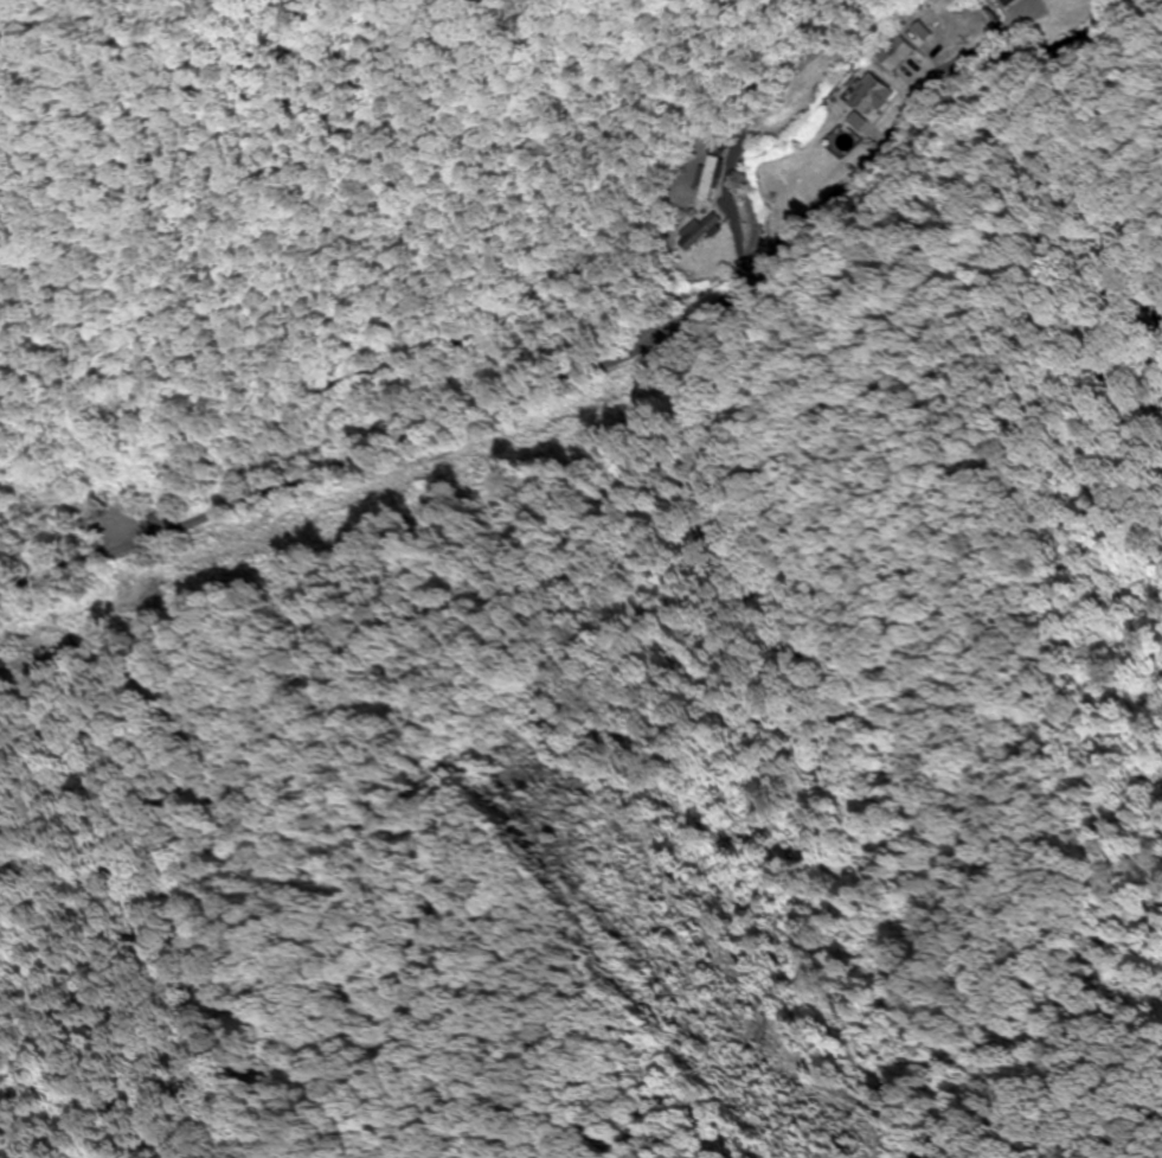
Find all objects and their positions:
building: (1013, 2)
road: (69, 33)
building: (873, 96)
building: (713, 173)
building: (701, 231)
road: (644, 434)

